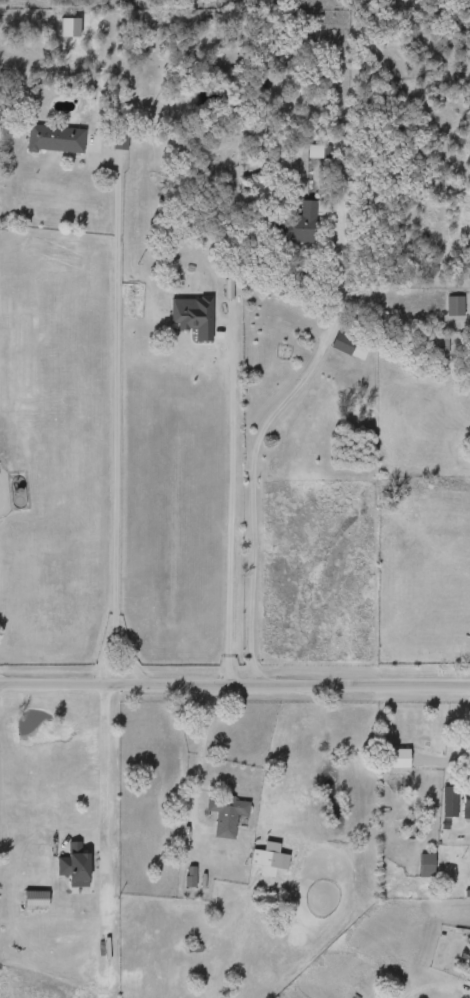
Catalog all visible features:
building: (198, 0)
building: (52, 138)
building: (315, 152)
building: (293, 224)
building: (209, 282)
building: (452, 306)
building: (433, 343)
building: (346, 346)
road: (111, 422)
road: (261, 422)
road: (226, 491)
road: (234, 685)
road: (206, 755)
building: (396, 758)
road: (102, 761)
building: (446, 801)
building: (464, 802)
building: (222, 813)
building: (269, 858)
building: (70, 862)
building: (423, 864)
building: (32, 898)

